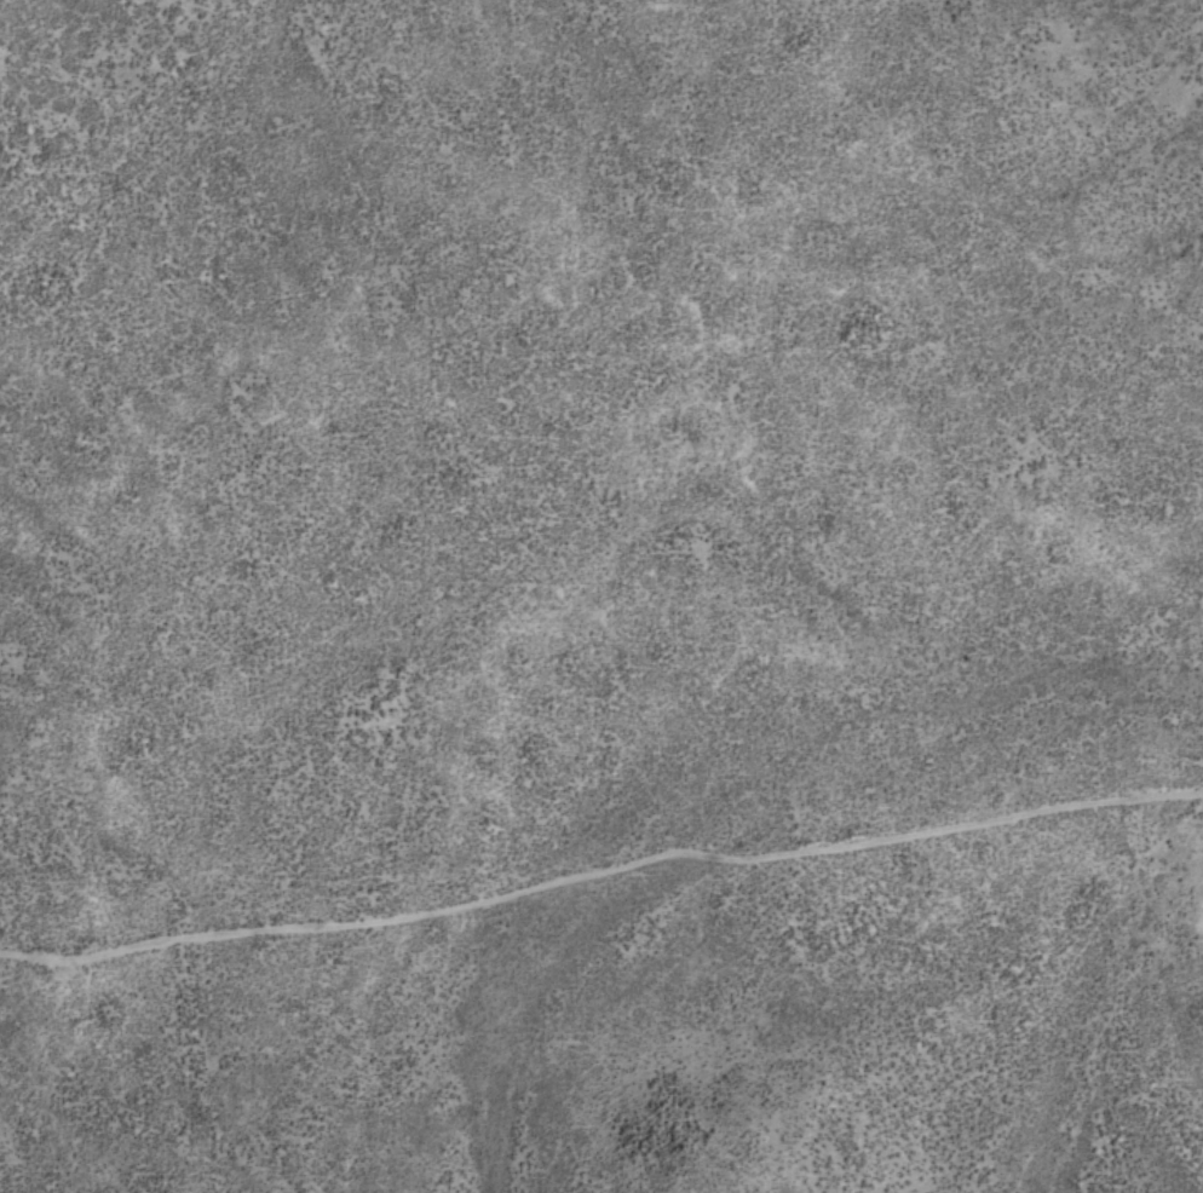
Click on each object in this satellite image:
road: (600, 870)

